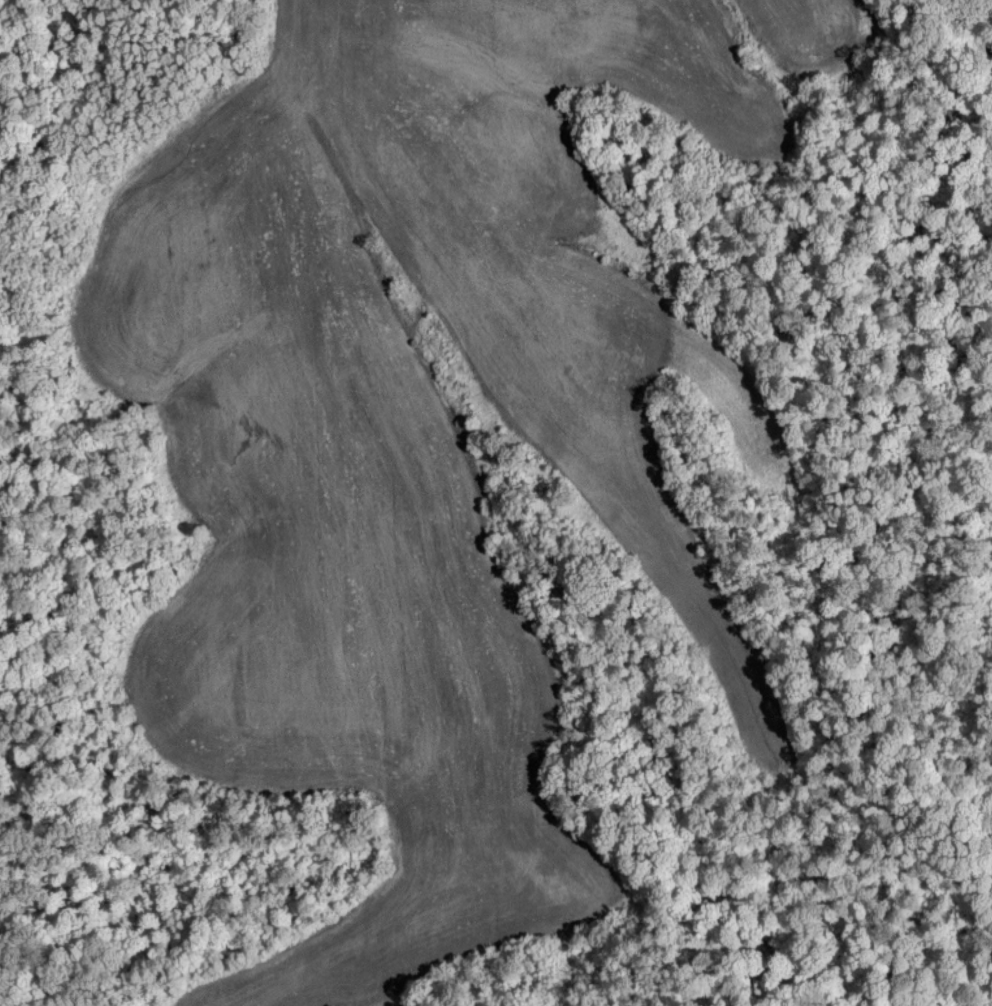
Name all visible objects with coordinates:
park: (87, 893)

